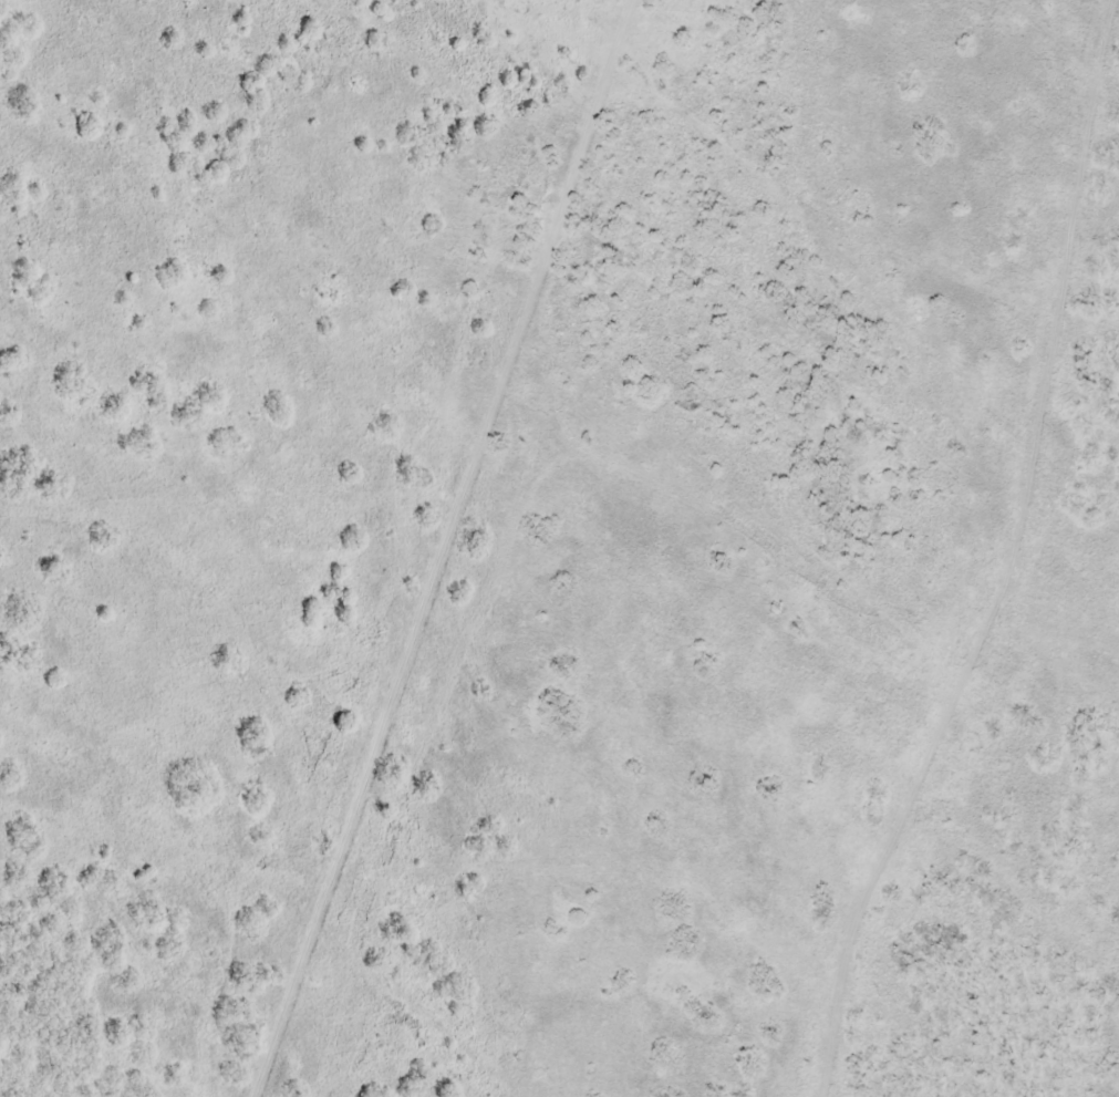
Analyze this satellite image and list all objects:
road: (1015, 582)

